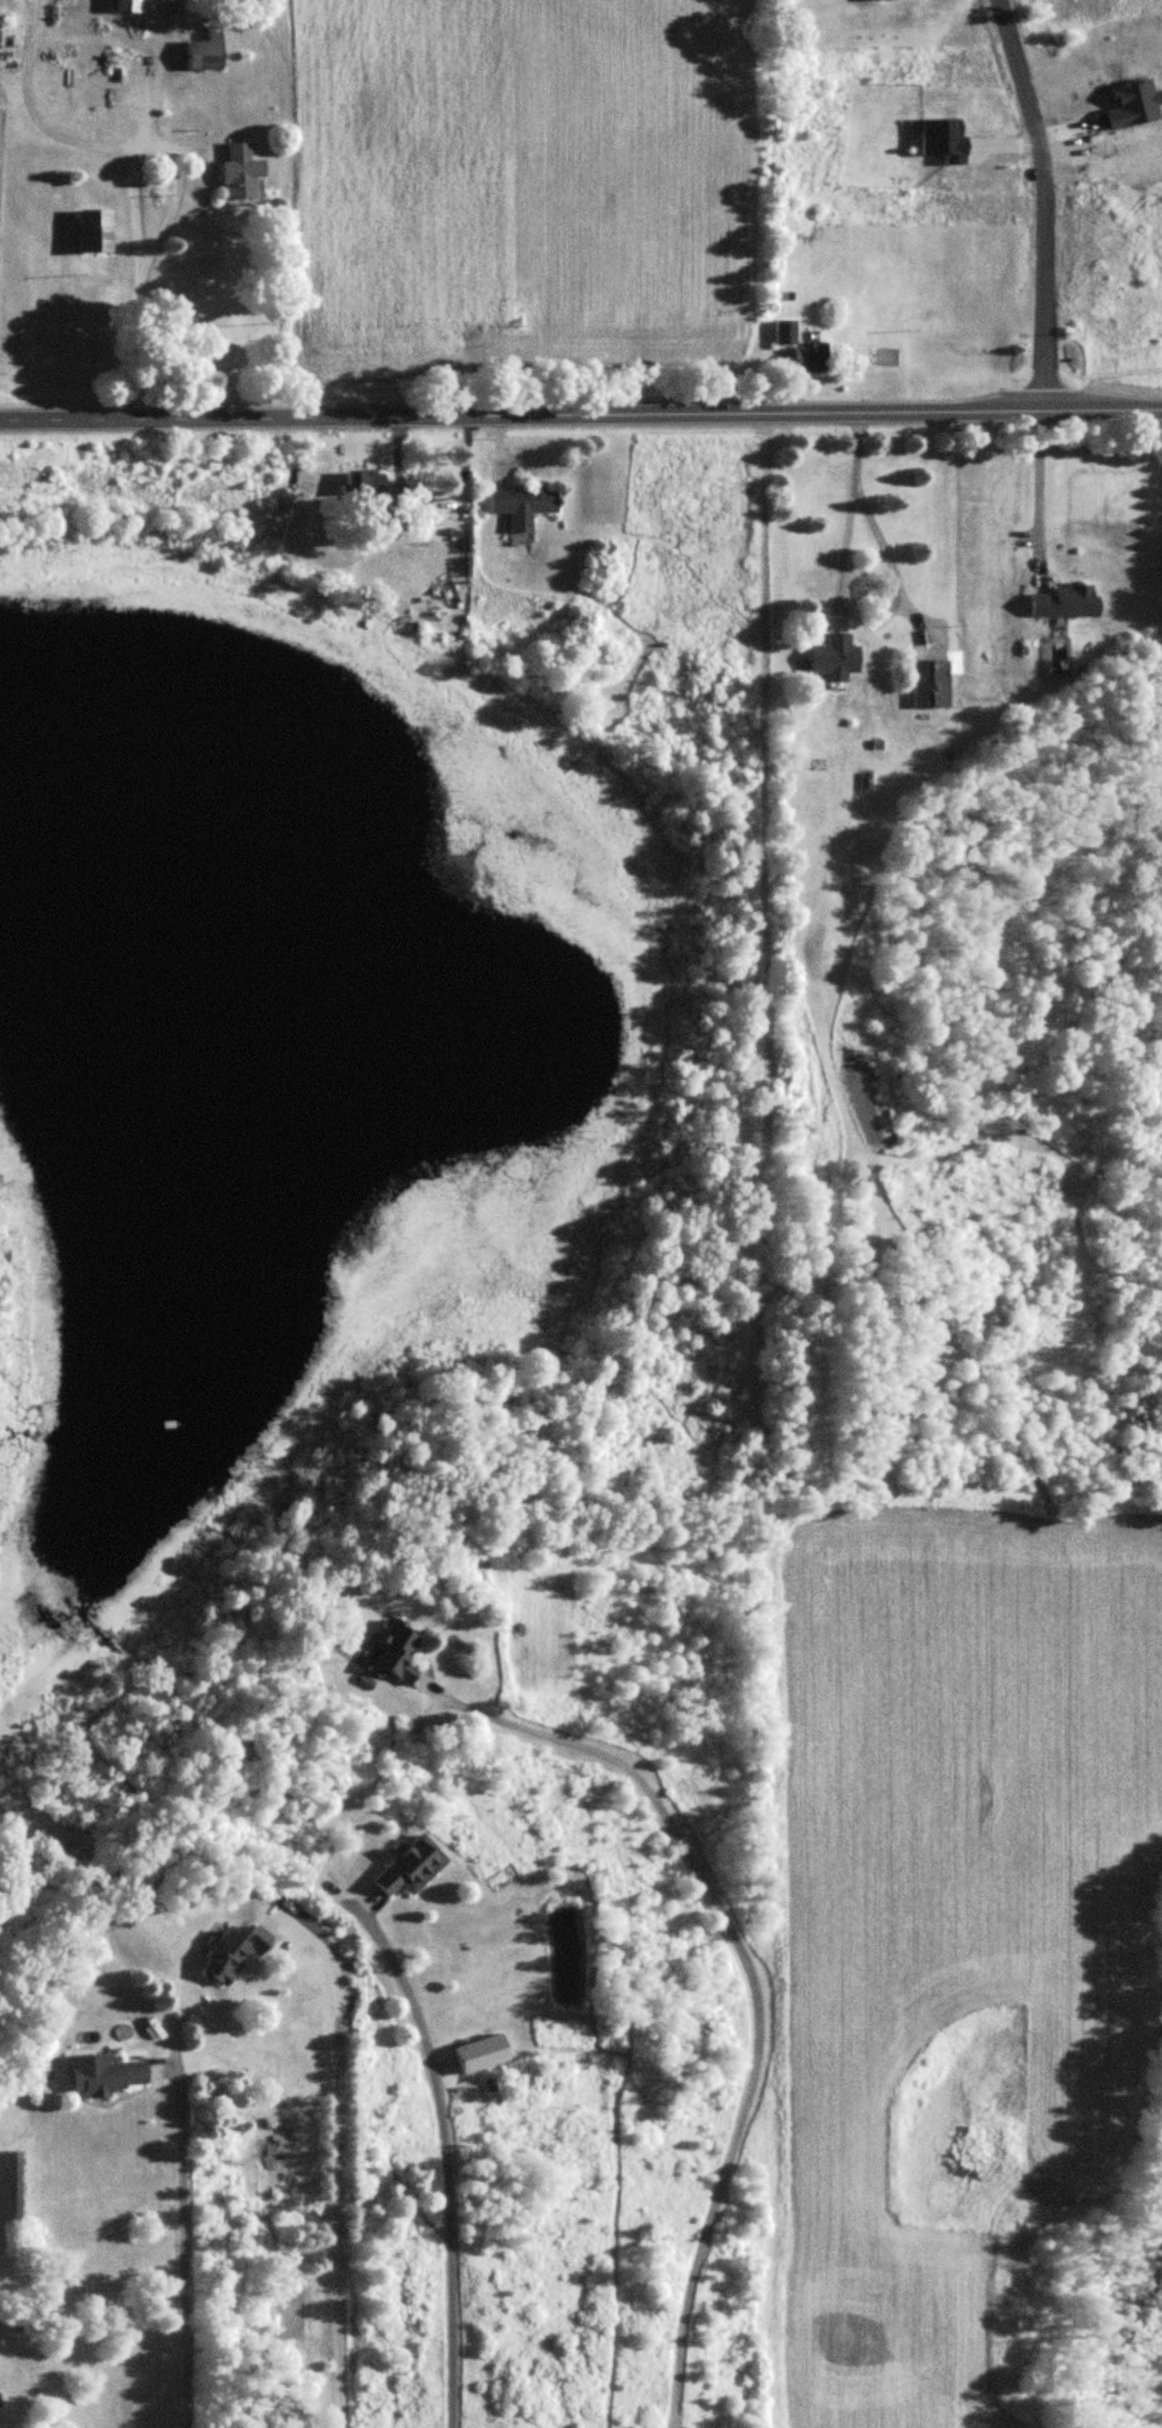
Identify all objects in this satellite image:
building: (126, 6)
building: (205, 52)
building: (240, 174)
road: (134, 201)
road: (1040, 204)
building: (92, 231)
building: (801, 349)
road: (580, 416)
road: (1036, 477)
building: (367, 495)
building: (519, 507)
building: (1064, 603)
road: (842, 604)
building: (833, 658)
building: (930, 684)
building: (397, 1654)
building: (411, 1867)
building: (232, 1953)
road: (752, 1980)
building: (104, 2076)
road: (334, 2163)
road: (447, 2163)
road: (180, 2247)

